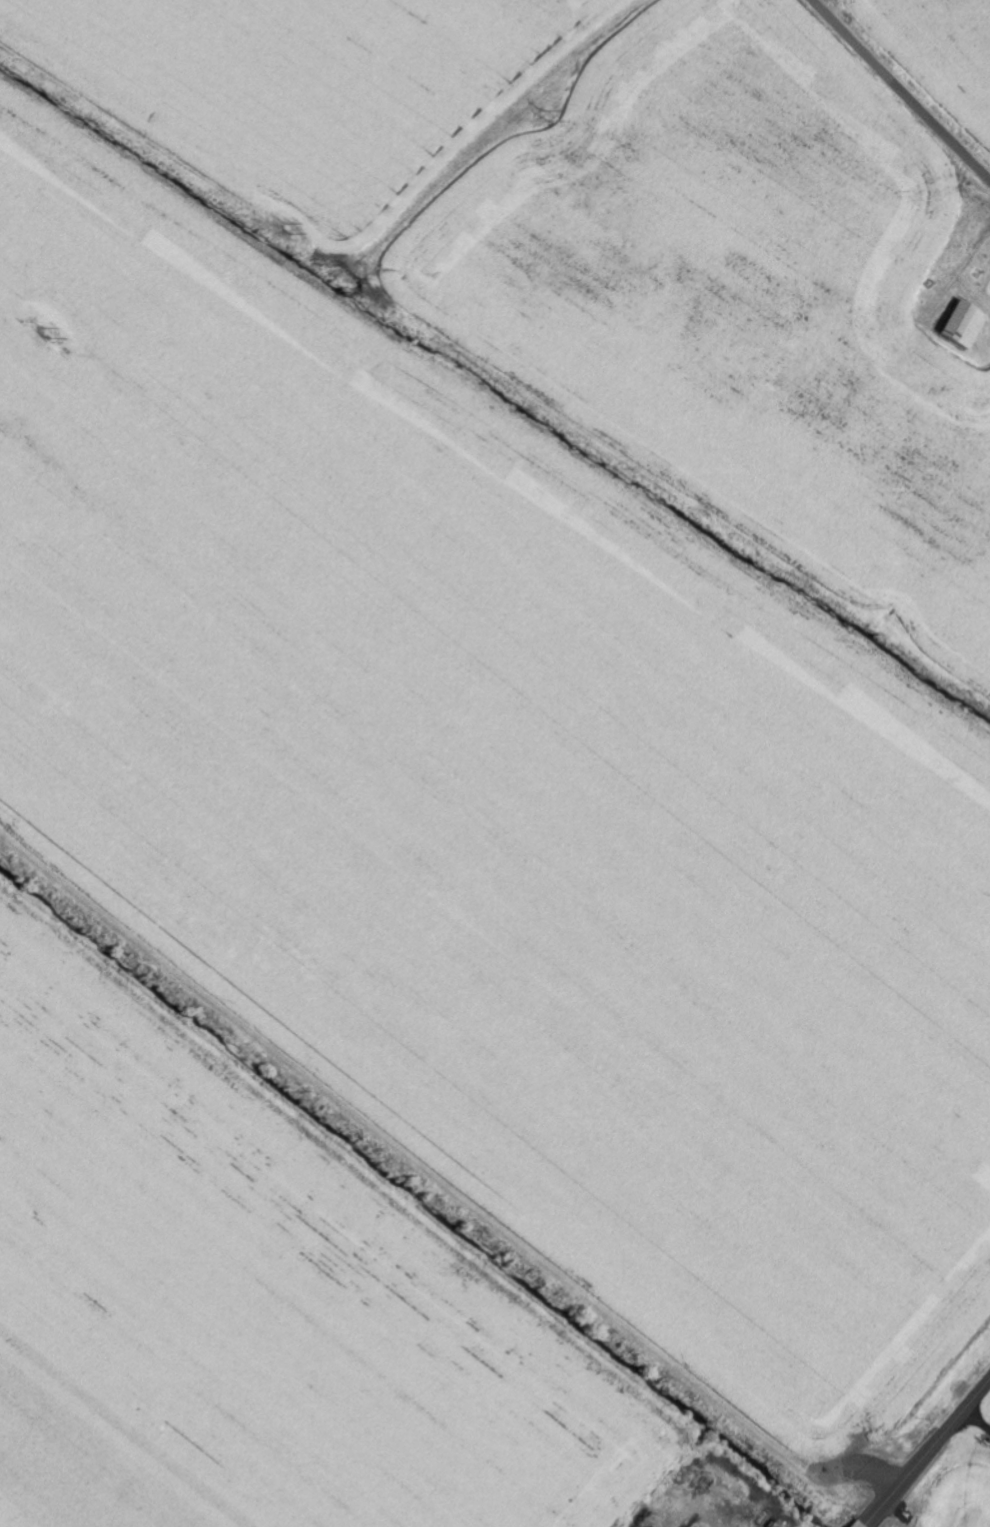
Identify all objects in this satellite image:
road: (899, 92)
building: (961, 325)
road: (978, 1416)
road: (926, 1453)

